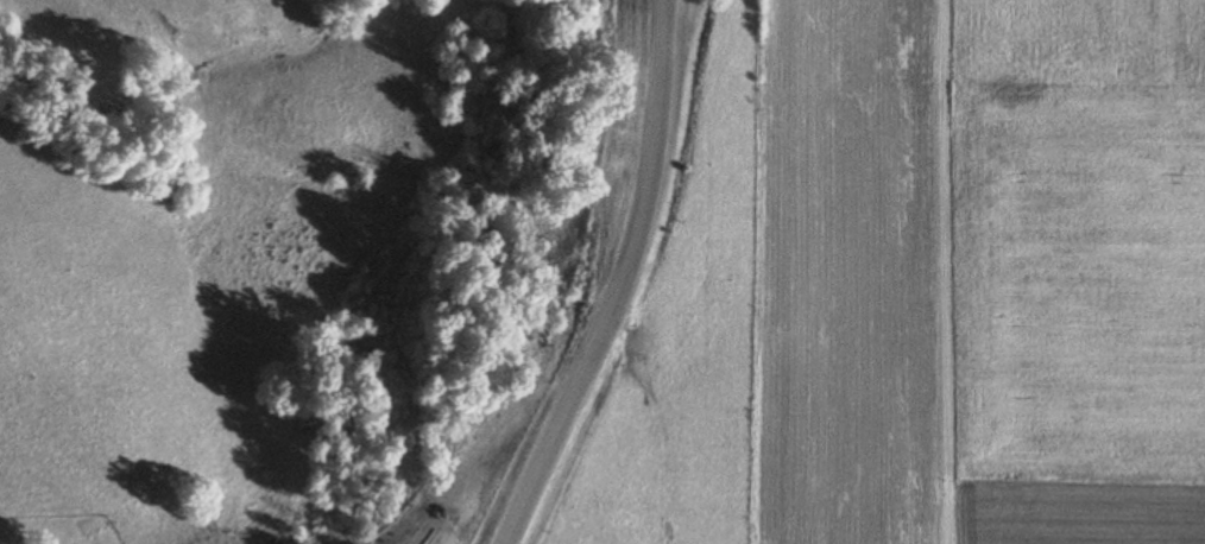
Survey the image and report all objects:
road: (614, 280)

